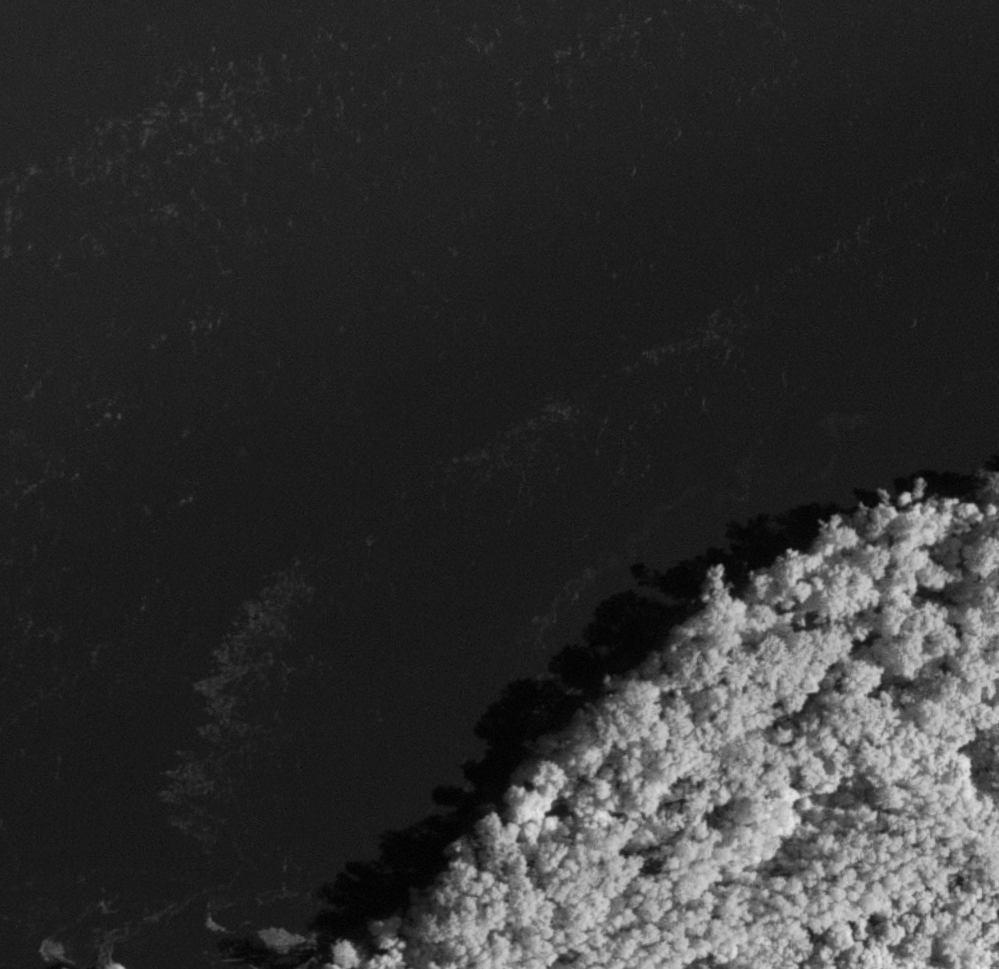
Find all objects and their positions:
river: (570, 98)
river: (499, 244)

